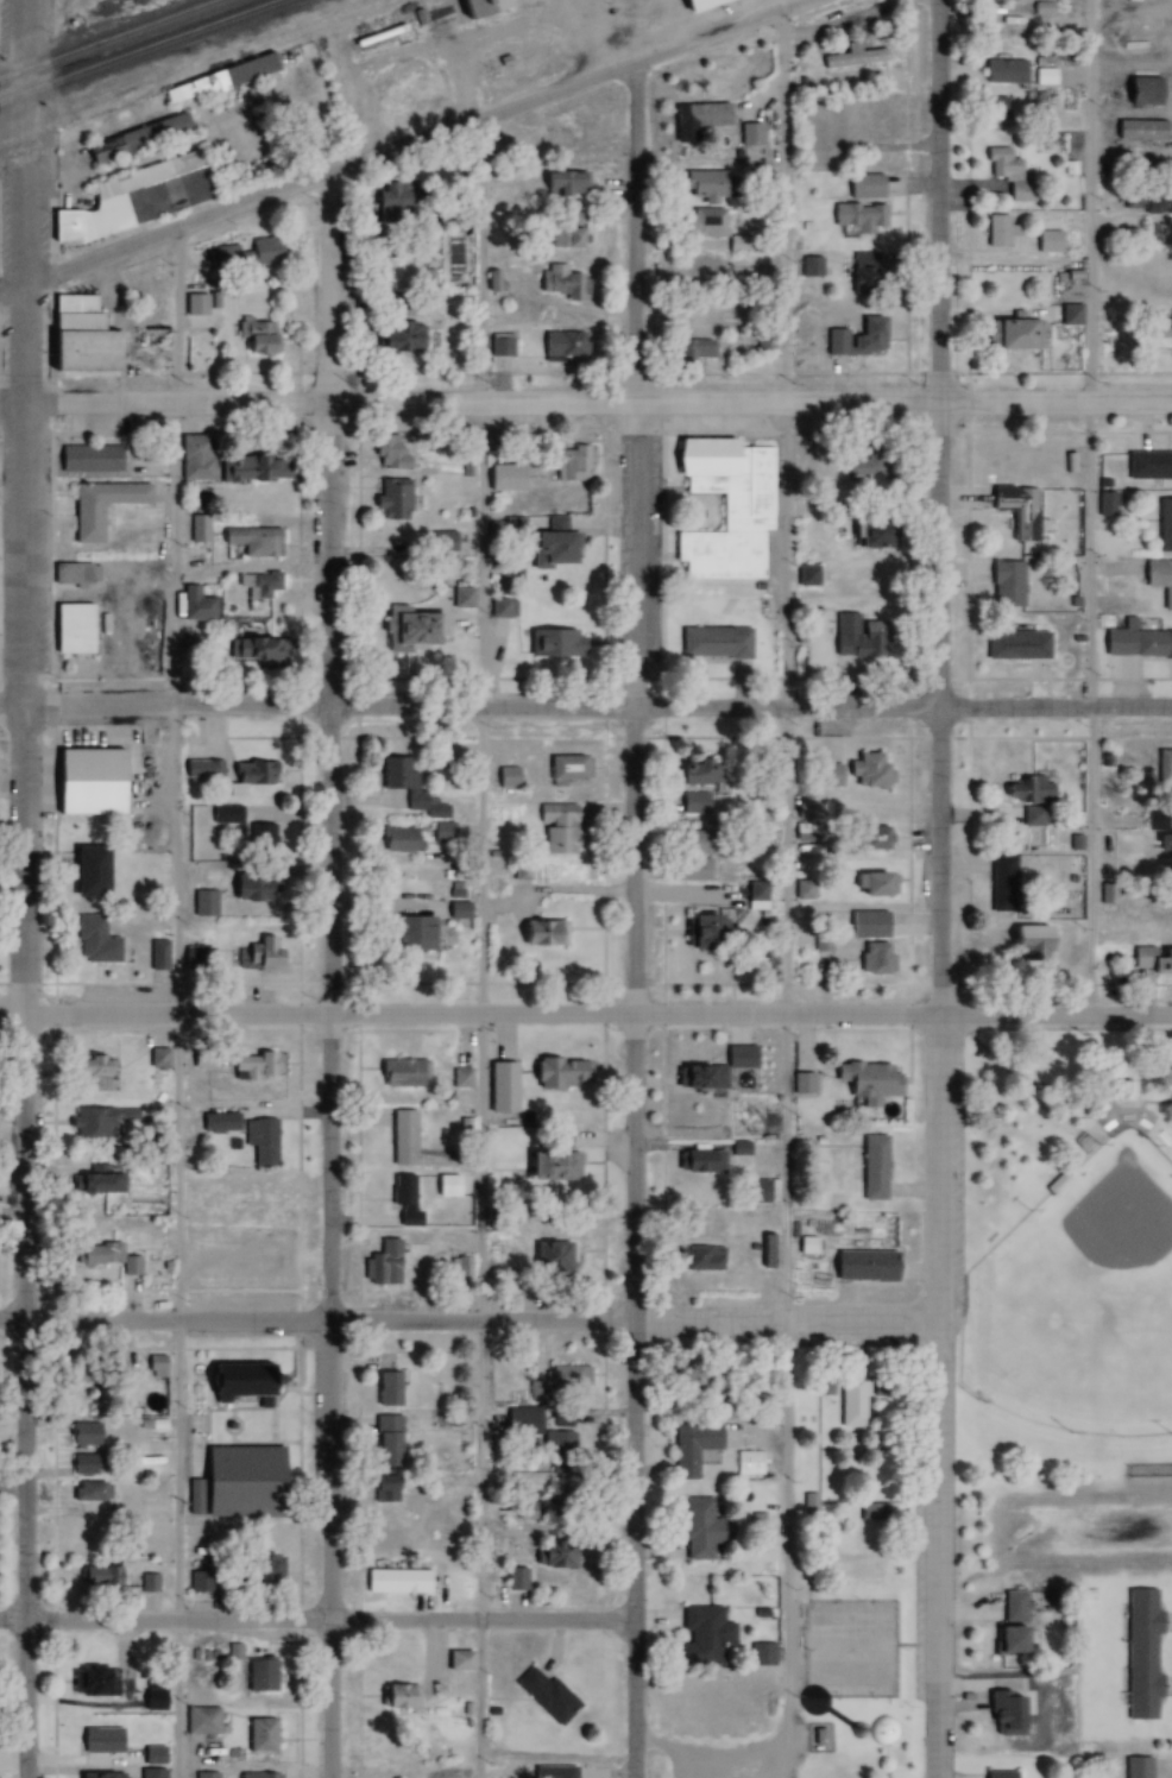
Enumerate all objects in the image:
building: (1002, 0)
road: (722, 31)
railway: (113, 40)
railway: (143, 51)
building: (851, 58)
building: (1003, 71)
railway: (202, 74)
building: (1041, 77)
building: (215, 80)
building: (1140, 90)
building: (702, 114)
building: (865, 114)
building: (1138, 131)
building: (751, 134)
building: (134, 140)
building: (1006, 175)
road: (316, 179)
building: (562, 183)
building: (702, 184)
building: (863, 187)
building: (134, 197)
building: (390, 200)
road: (935, 203)
building: (1152, 203)
building: (856, 219)
building: (704, 223)
building: (566, 232)
building: (994, 232)
building: (1039, 244)
building: (244, 256)
building: (864, 275)
building: (811, 276)
building: (561, 284)
building: (196, 305)
building: (1067, 315)
building: (74, 334)
building: (1009, 334)
building: (397, 336)
building: (1159, 336)
building: (256, 338)
building: (856, 339)
building: (560, 345)
building: (499, 348)
building: (697, 349)
road: (315, 404)
road: (901, 406)
building: (706, 450)
building: (390, 453)
building: (87, 459)
building: (571, 464)
building: (1148, 466)
building: (250, 467)
building: (855, 469)
building: (502, 479)
building: (390, 499)
building: (1104, 505)
building: (99, 507)
road: (1088, 509)
building: (1016, 510)
building: (1164, 525)
building: (865, 534)
building: (251, 542)
building: (547, 550)
building: (805, 576)
building: (1158, 580)
building: (257, 585)
building: (1004, 585)
building: (461, 599)
building: (194, 605)
building: (502, 609)
building: (74, 628)
building: (408, 630)
building: (857, 637)
building: (552, 643)
building: (1135, 643)
building: (1014, 645)
building: (717, 647)
building: (253, 650)
road: (315, 706)
road: (901, 706)
road: (941, 711)
building: (826, 767)
building: (1164, 767)
building: (201, 769)
building: (566, 769)
building: (688, 771)
building: (868, 771)
building: (251, 774)
building: (505, 777)
building: (88, 783)
building: (409, 788)
building: (1025, 797)
building: (693, 803)
building: (806, 811)
building: (225, 814)
building: (1153, 821)
building: (555, 830)
building: (868, 838)
building: (397, 840)
building: (1167, 845)
building: (685, 869)
building: (84, 870)
building: (1001, 883)
building: (868, 884)
building: (248, 887)
road: (23, 888)
road: (782, 895)
building: (202, 904)
building: (456, 910)
road: (631, 920)
building: (865, 925)
building: (697, 932)
building: (412, 934)
building: (540, 934)
building: (92, 940)
building: (1026, 944)
road: (478, 948)
building: (262, 954)
building: (157, 956)
building: (872, 958)
building: (1152, 961)
building: (190, 964)
road: (327, 976)
road: (174, 1004)
road: (901, 1015)
road: (315, 1016)
building: (200, 1059)
building: (84, 1067)
building: (252, 1067)
building: (712, 1071)
building: (399, 1074)
building: (557, 1074)
building: (460, 1079)
building: (865, 1080)
building: (800, 1084)
building: (504, 1086)
building: (216, 1123)
building: (92, 1124)
building: (404, 1136)
building: (258, 1141)
building: (698, 1164)
building: (547, 1167)
building: (871, 1169)
building: (92, 1184)
building: (752, 1193)
building: (403, 1202)
building: (96, 1255)
building: (550, 1259)
building: (697, 1259)
building: (383, 1265)
building: (128, 1267)
building: (861, 1267)
building: (460, 1268)
park: (1080, 1300)
road: (783, 1324)
road: (316, 1326)
building: (568, 1381)
building: (689, 1381)
building: (238, 1383)
building: (384, 1391)
road: (935, 1396)
building: (853, 1401)
building: (560, 1418)
building: (523, 1423)
building: (83, 1436)
building: (384, 1443)
building: (691, 1448)
building: (560, 1452)
building: (749, 1462)
building: (82, 1465)
building: (237, 1482)
building: (383, 1490)
building: (88, 1493)
building: (556, 1498)
building: (807, 1505)
building: (871, 1513)
building: (698, 1530)
building: (552, 1556)
building: (97, 1578)
building: (398, 1580)
building: (515, 1580)
building: (199, 1583)
building: (149, 1584)
building: (1012, 1606)
road: (315, 1622)
building: (699, 1637)
building: (1004, 1641)
building: (1140, 1656)
building: (456, 1662)
building: (263, 1675)
building: (92, 1683)
building: (544, 1697)
building: (396, 1698)
building: (152, 1702)
building: (1004, 1714)
building: (203, 1719)
building: (258, 1738)
water tower: (856, 1738)
building: (97, 1742)
building: (1135, 1768)
building: (553, 1773)
building: (97, 1774)
building: (150, 1774)
building: (203, 1776)
building: (998, 1776)
building: (257, 1777)

